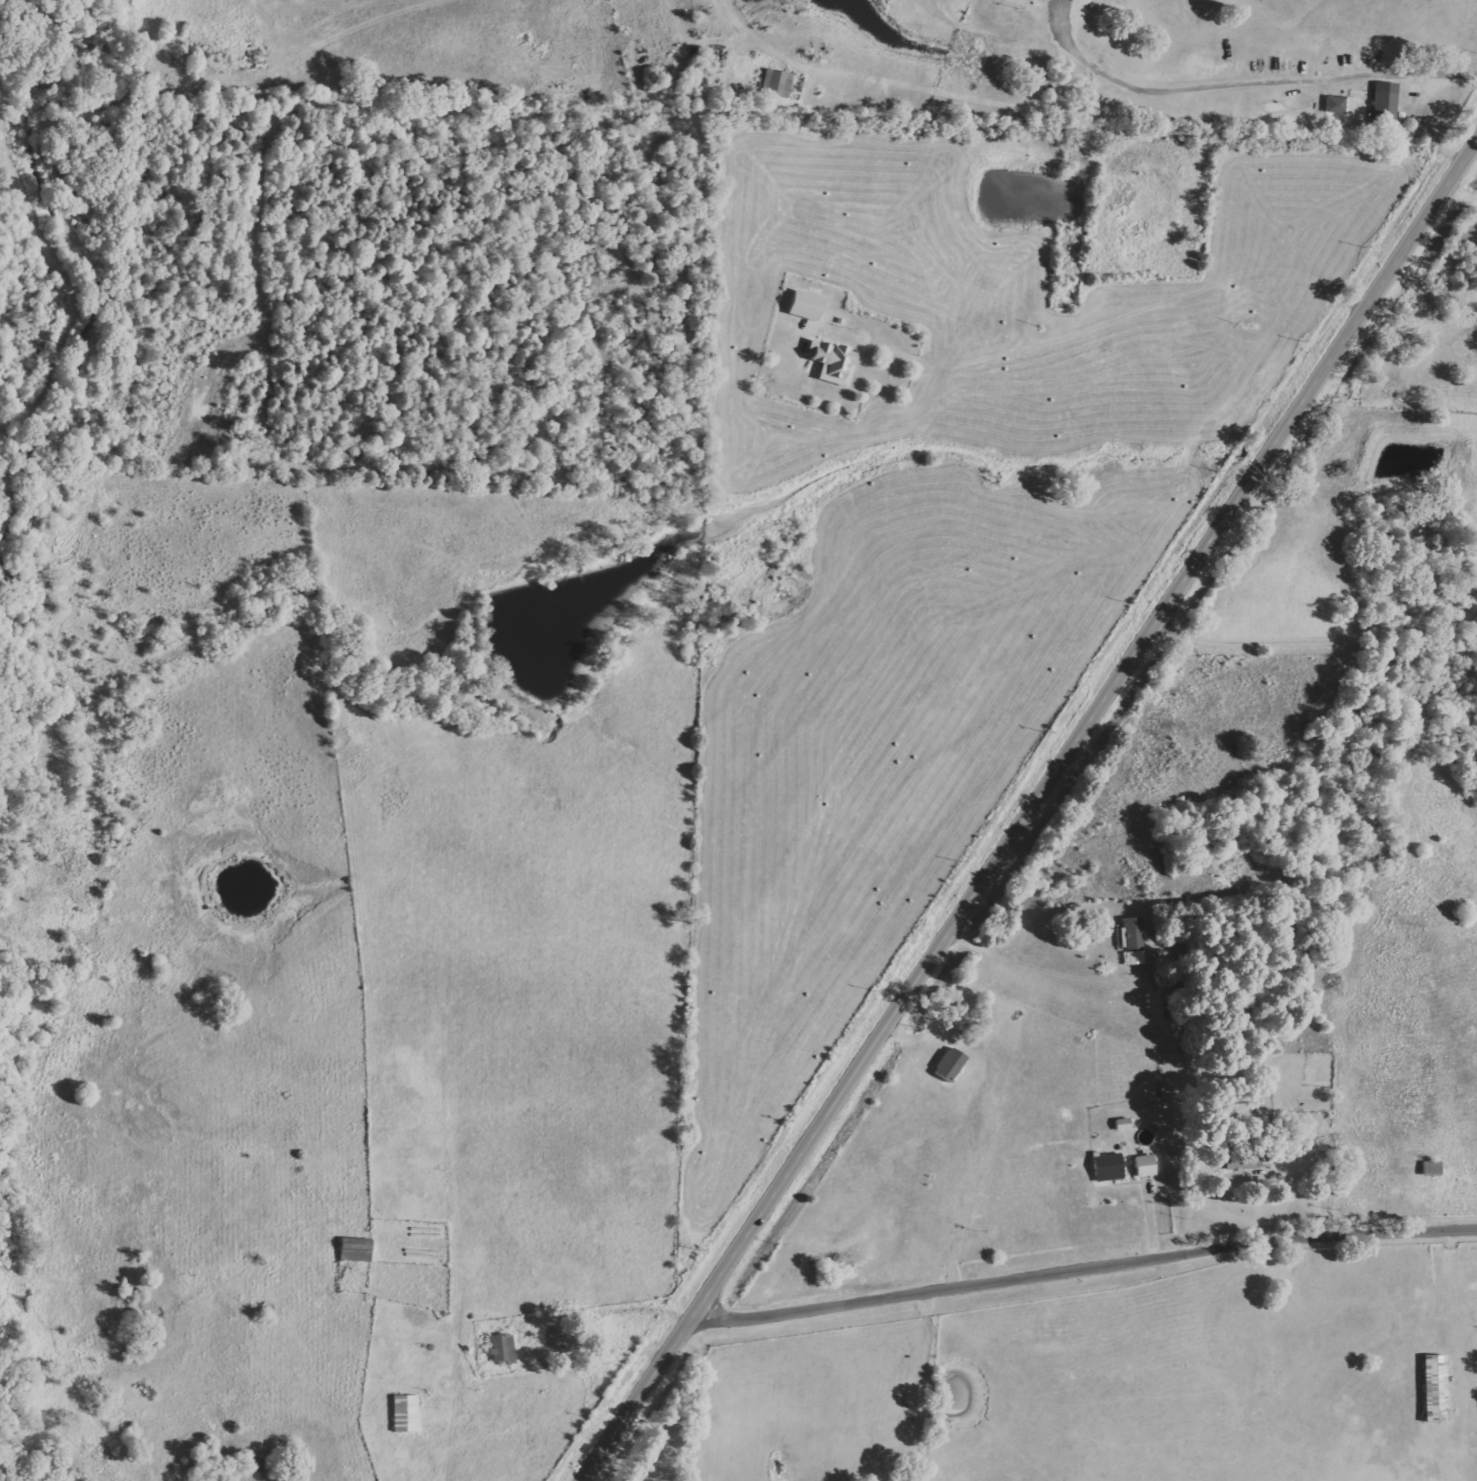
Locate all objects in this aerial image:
road: (1245, 76)
building: (775, 82)
building: (1384, 102)
building: (1337, 104)
building: (801, 305)
building: (829, 362)
road: (1329, 635)
road: (1030, 806)
building: (1132, 939)
road: (1034, 968)
building: (947, 1064)
building: (1242, 1157)
building: (1142, 1165)
building: (1106, 1166)
building: (1429, 1166)
road: (1084, 1267)
building: (500, 1348)
building: (1432, 1388)

